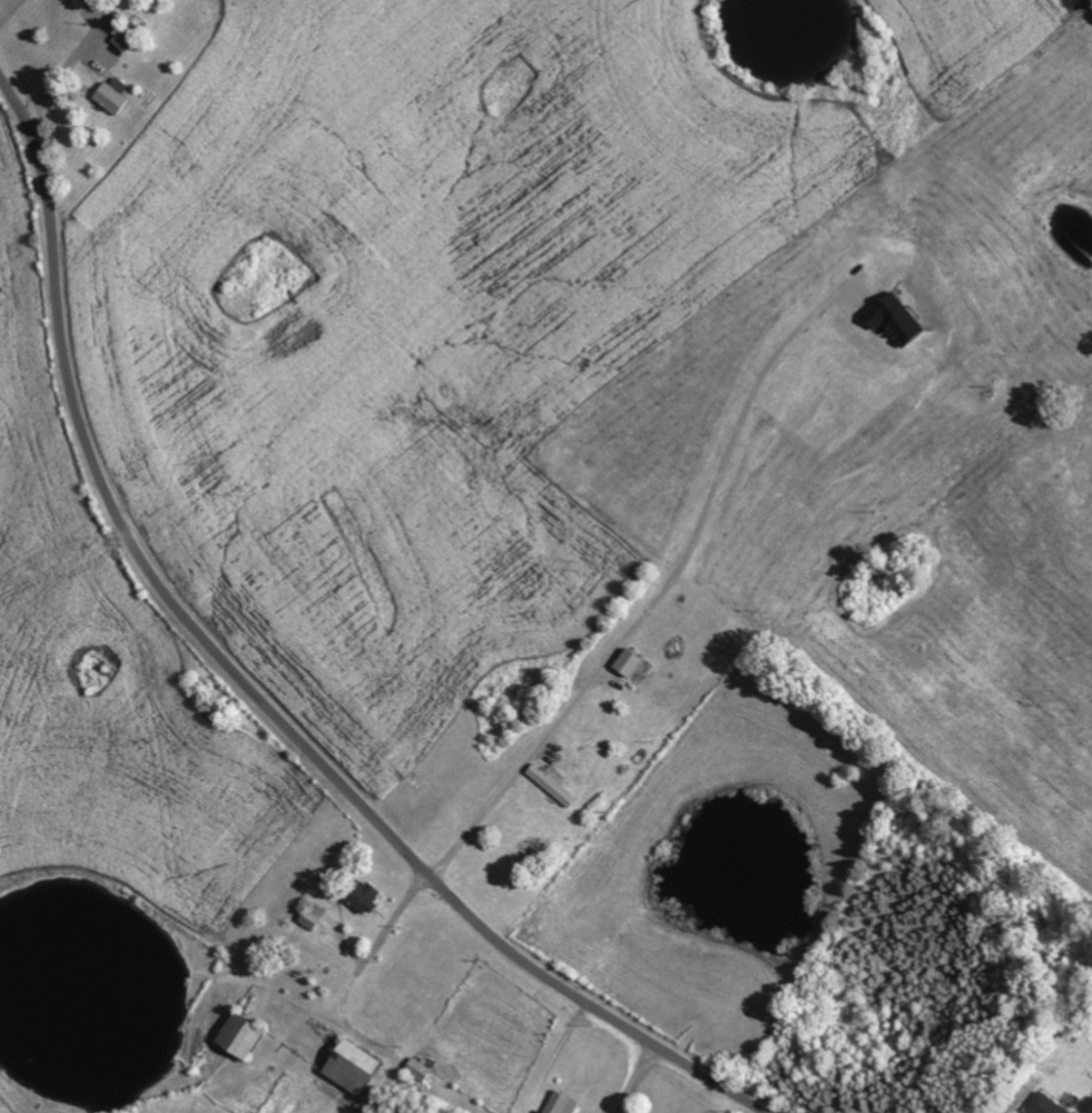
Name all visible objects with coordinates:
building: (120, 45)
building: (116, 96)
building: (899, 319)
road: (660, 597)
building: (632, 663)
road: (248, 684)
building: (554, 786)
building: (368, 897)
building: (316, 916)
road: (364, 968)
building: (245, 1036)
building: (358, 1068)
road: (632, 1077)
road: (1007, 1102)
building: (563, 1104)
building: (1049, 1105)

